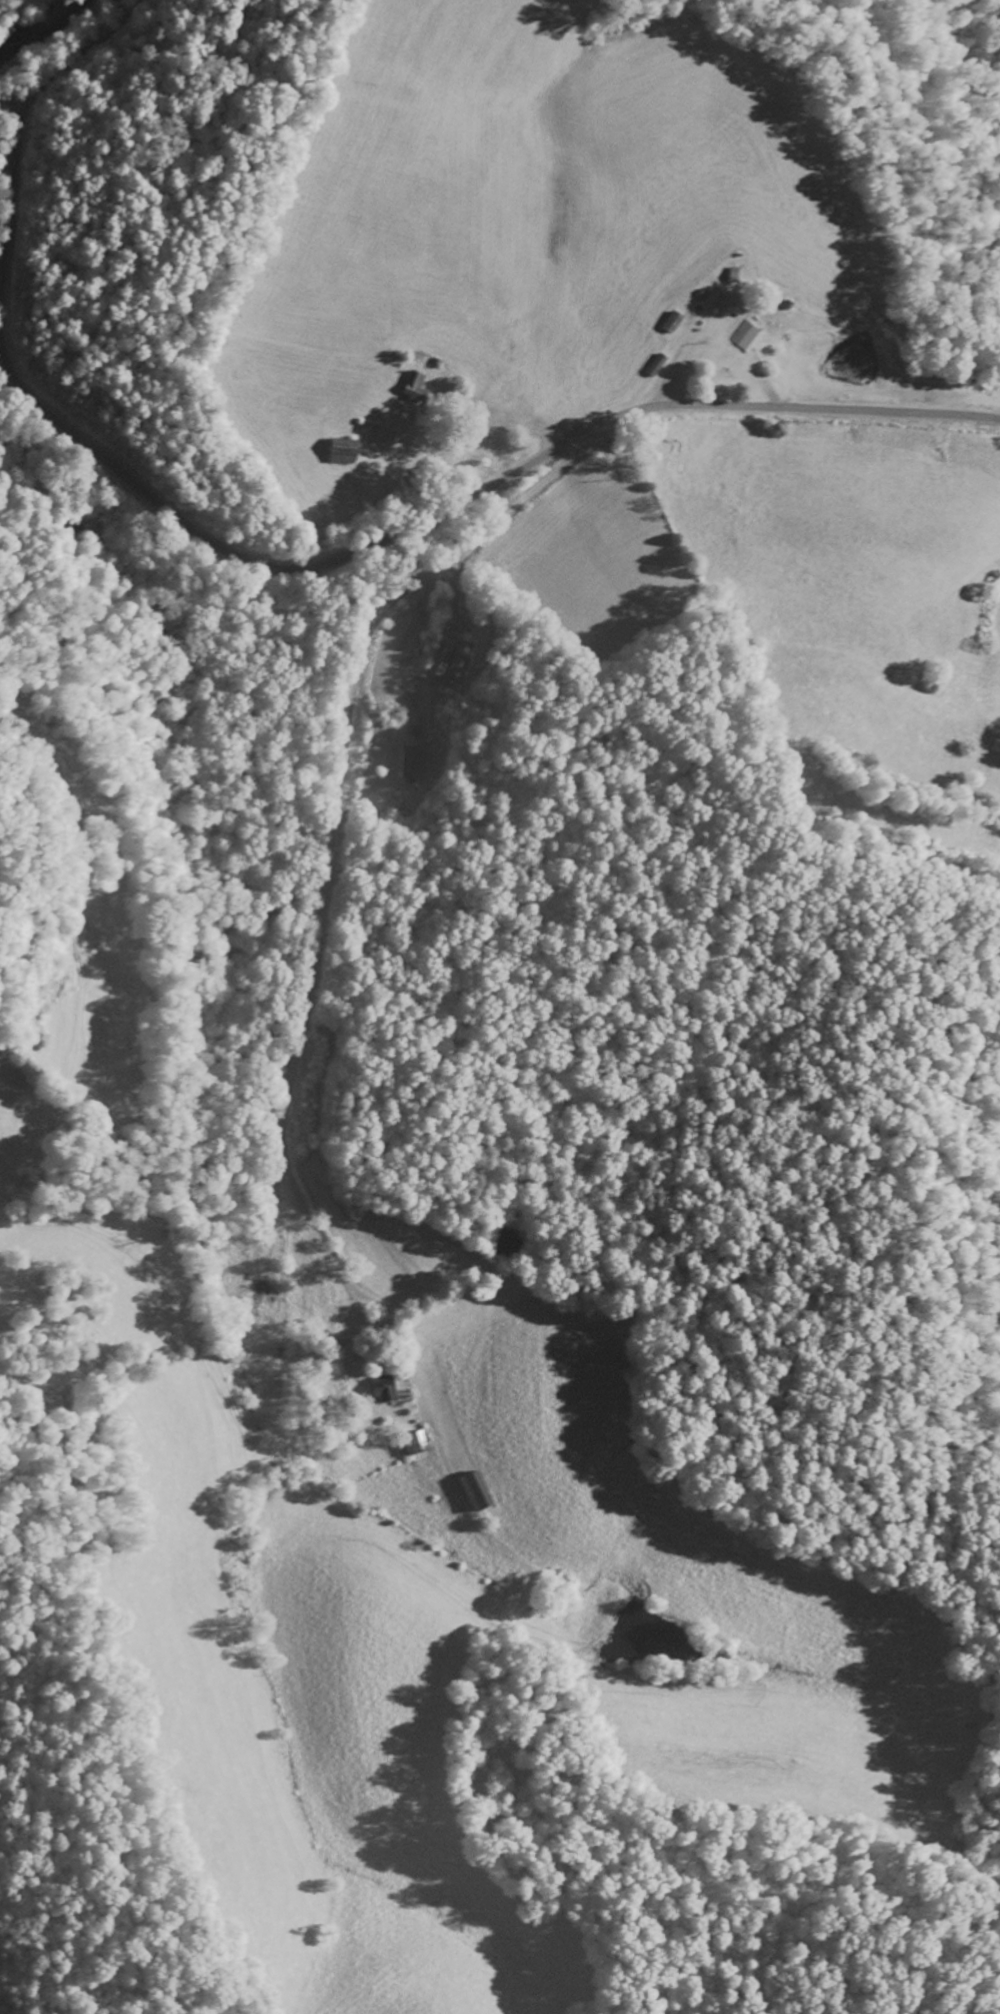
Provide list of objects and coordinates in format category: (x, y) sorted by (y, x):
road: (14, 97)
road: (19, 119)
building: (670, 321)
building: (745, 335)
building: (654, 364)
building: (414, 386)
building: (340, 450)
road: (458, 499)
building: (447, 662)
building: (411, 760)
road: (322, 935)
building: (257, 1283)
building: (382, 1388)
building: (415, 1441)
building: (473, 1490)

